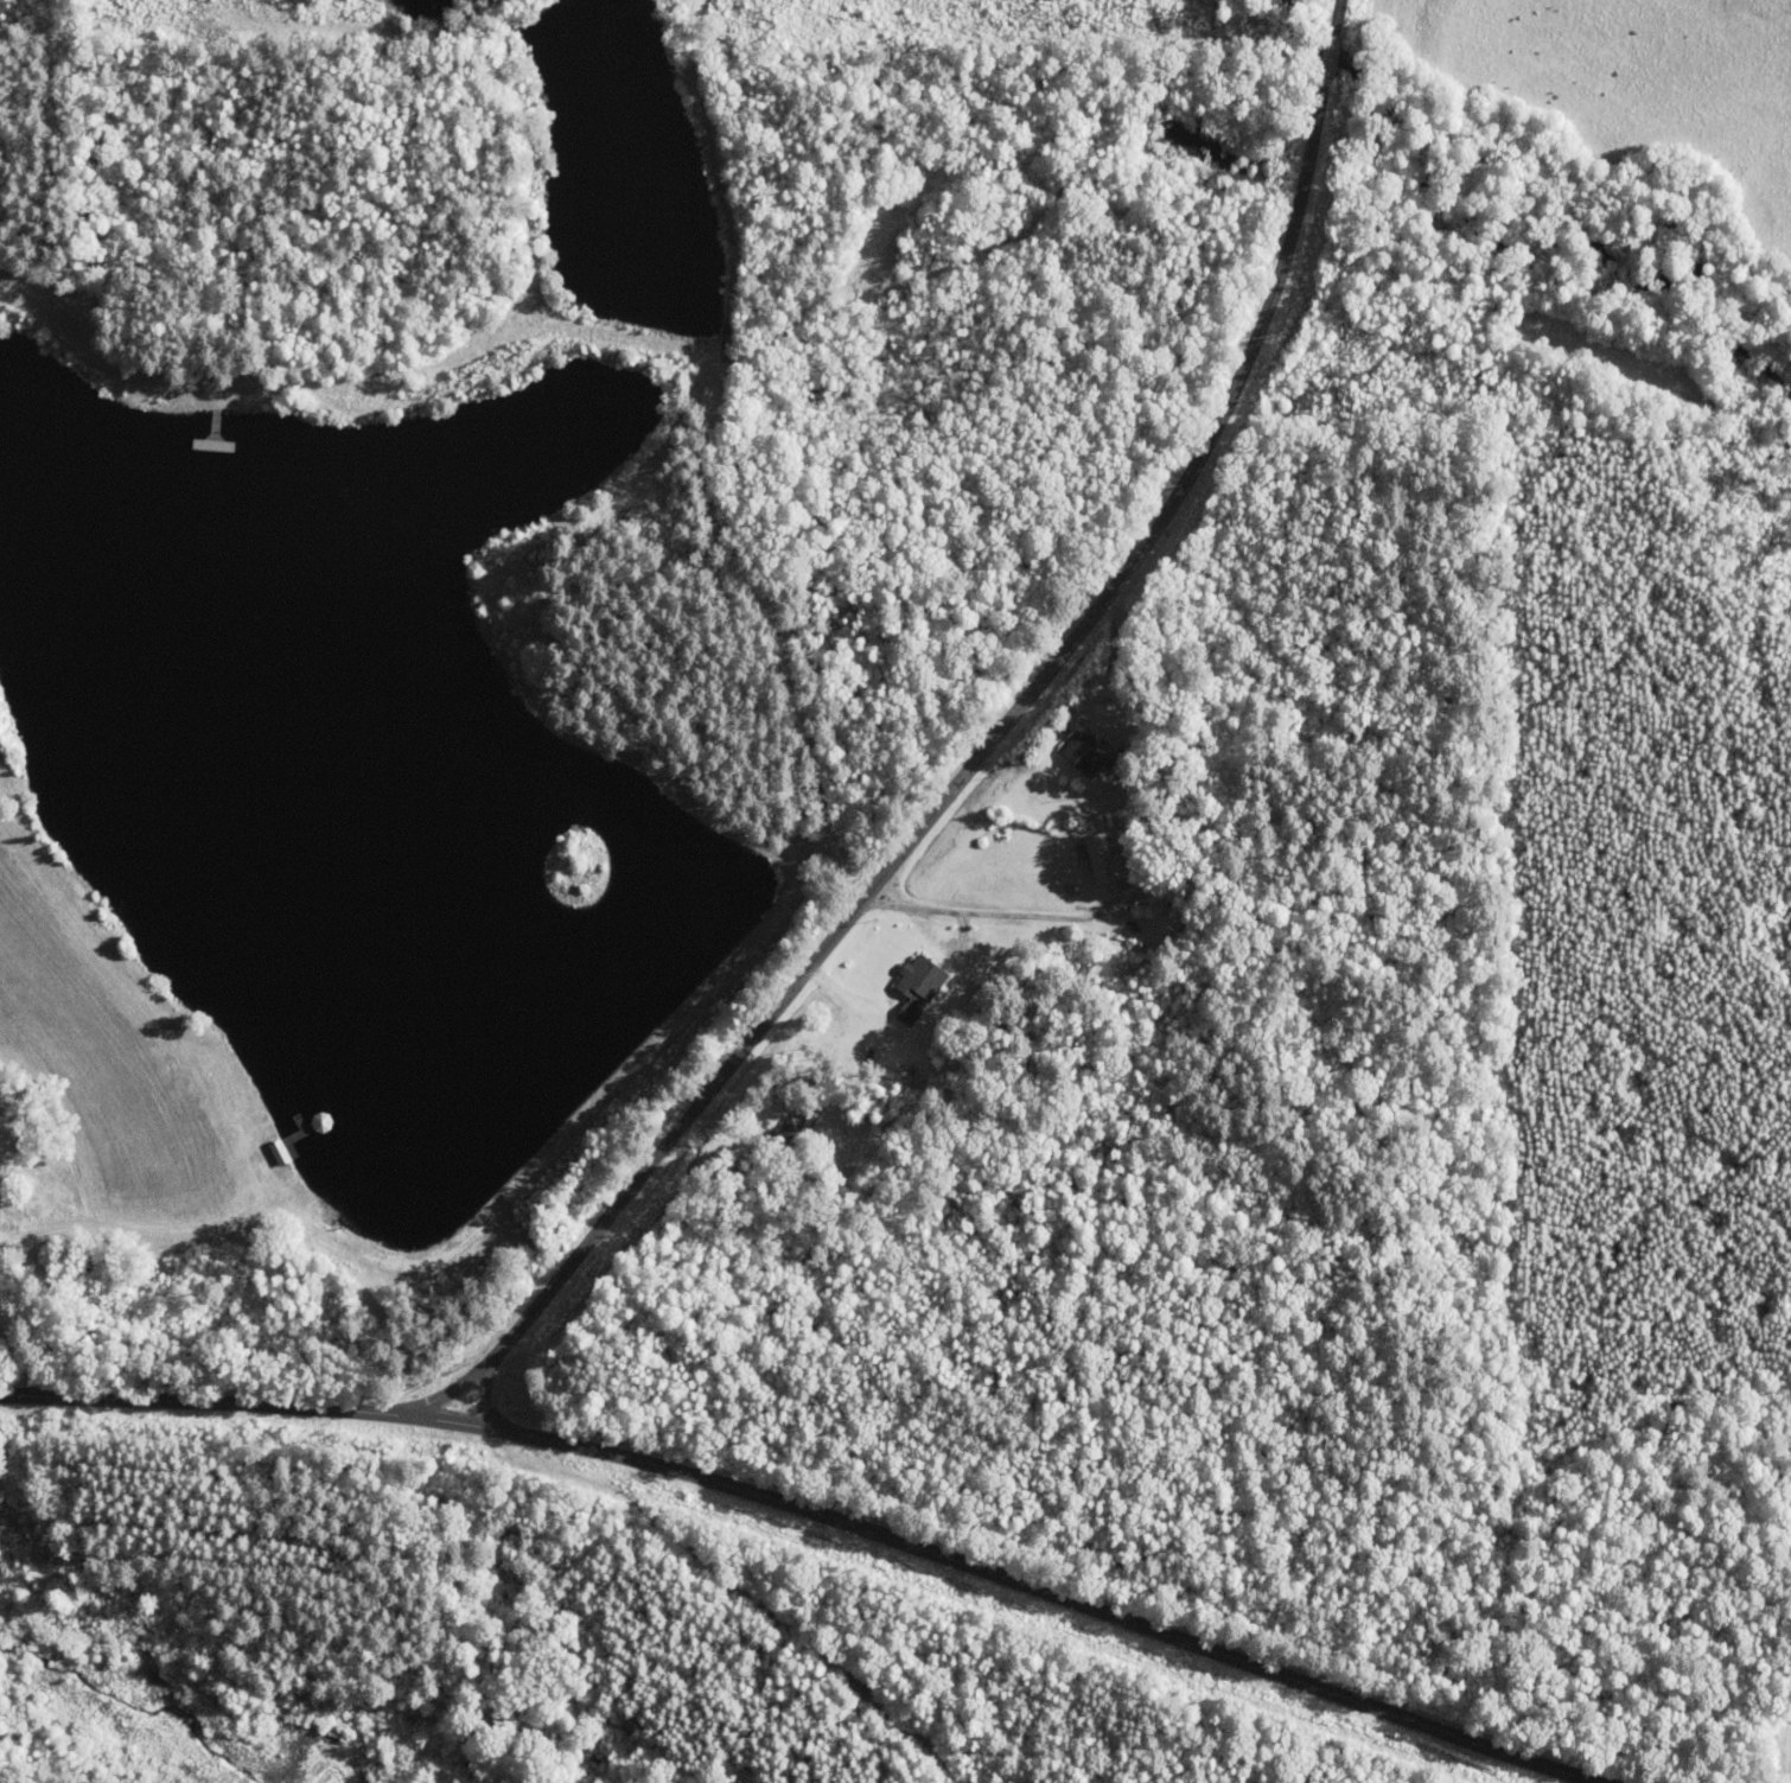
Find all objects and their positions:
road: (984, 751)
road: (465, 1386)
road: (820, 1511)
road: (695, 1606)

